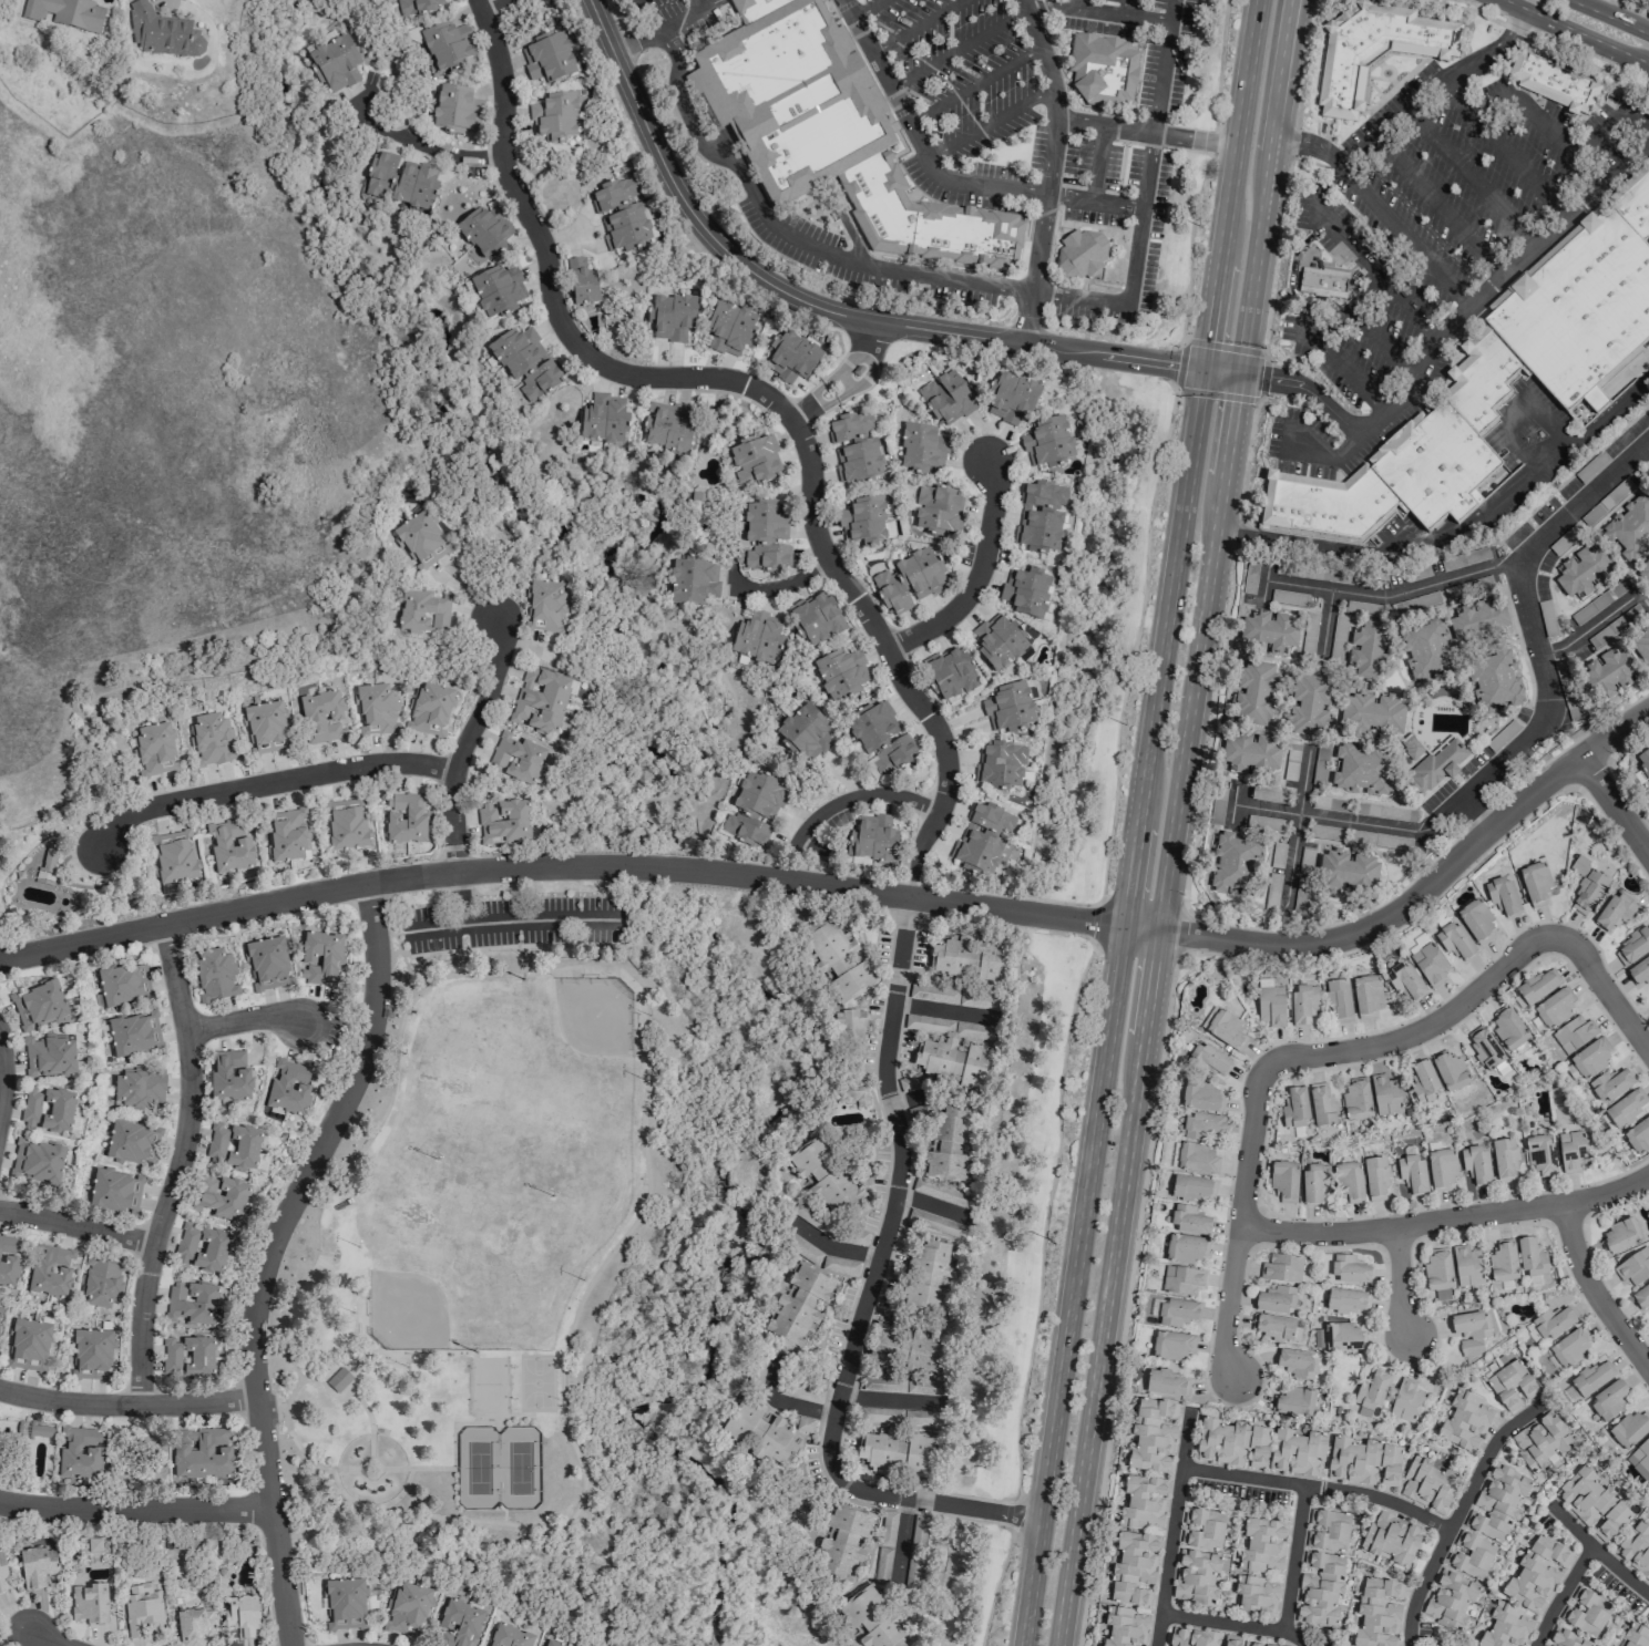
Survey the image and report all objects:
building: (1642, 0)
road: (697, 3)
road: (498, 6)
road: (1080, 6)
building: (417, 7)
road: (869, 8)
road: (1125, 8)
road: (1629, 9)
building: (65, 13)
road: (1098, 13)
road: (1609, 17)
road: (915, 24)
road: (657, 29)
road: (1577, 33)
building: (162, 34)
road: (1538, 42)
building: (448, 47)
road: (959, 48)
building: (1374, 51)
building: (550, 56)
building: (336, 62)
building: (1103, 71)
building: (1553, 83)
road: (975, 84)
road: (1435, 86)
building: (455, 109)
building: (554, 116)
road: (991, 123)
road: (1630, 126)
road: (1540, 130)
road: (1154, 132)
building: (830, 134)
road: (1589, 140)
road: (1302, 141)
road: (423, 147)
road: (1505, 150)
road: (1151, 153)
road: (1099, 164)
road: (1051, 169)
road: (943, 175)
road: (1471, 177)
building: (400, 181)
road: (1438, 208)
building: (484, 235)
road: (785, 235)
road: (1405, 237)
building: (1080, 256)
road: (1379, 272)
building: (581, 282)
building: (1324, 285)
building: (498, 289)
road: (1482, 298)
road: (1079, 299)
road: (1349, 308)
road: (823, 310)
building: (1577, 310)
building: (670, 317)
building: (729, 329)
road: (1381, 348)
building: (791, 358)
building: (525, 363)
road: (862, 363)
traffic signals: (1221, 369)
road: (1345, 370)
road: (1298, 387)
road: (751, 389)
building: (945, 398)
building: (1011, 398)
road: (813, 408)
building: (603, 419)
road: (1550, 422)
building: (666, 426)
building: (1046, 442)
building: (856, 446)
building: (921, 449)
road: (1310, 450)
building: (755, 462)
road: (1207, 464)
building: (1436, 469)
building: (938, 512)
building: (1042, 516)
building: (862, 522)
building: (1629, 528)
building: (765, 536)
road: (1450, 537)
building: (421, 538)
building: (1646, 569)
building: (1583, 570)
road: (1479, 574)
road: (980, 579)
building: (694, 583)
road: (793, 584)
road: (1268, 586)
building: (1026, 591)
building: (546, 607)
building: (1362, 607)
building: (421, 610)
building: (816, 619)
building: (1477, 623)
road: (1594, 629)
road: (1329, 631)
building: (1268, 632)
building: (757, 637)
building: (1000, 642)
building: (1641, 646)
building: (1426, 649)
building: (1366, 650)
building: (840, 673)
building: (950, 675)
building: (1606, 676)
building: (1494, 680)
building: (1254, 693)
building: (542, 701)
building: (1308, 706)
building: (376, 709)
building: (430, 710)
building: (1371, 712)
building: (321, 717)
building: (264, 727)
building: (803, 734)
building: (880, 739)
building: (211, 740)
road: (468, 744)
building: (1410, 747)
building: (155, 750)
building: (1250, 754)
building: (516, 759)
building: (1643, 762)
building: (1002, 764)
building: (1437, 765)
building: (1363, 769)
road: (272, 785)
road: (1478, 789)
road: (862, 798)
road: (1236, 806)
road: (1616, 809)
building: (752, 811)
building: (404, 819)
road: (1477, 819)
building: (503, 822)
building: (345, 824)
road: (1299, 832)
building: (288, 834)
building: (1364, 837)
building: (872, 840)
building: (983, 840)
building: (229, 846)
building: (173, 857)
building: (47, 863)
building: (1236, 866)
building: (1346, 873)
road: (453, 875)
road: (915, 884)
building: (1534, 884)
building: (1586, 886)
building: (1502, 896)
building: (1614, 913)
road: (509, 920)
building: (1475, 922)
building: (1455, 942)
road: (1318, 947)
building: (1632, 947)
building: (319, 956)
building: (837, 960)
building: (969, 961)
building: (1428, 964)
building: (267, 965)
building: (1639, 971)
building: (215, 975)
building: (1406, 981)
building: (121, 984)
building: (1537, 986)
road: (1606, 992)
building: (1366, 996)
building: (954, 997)
building: (1648, 997)
building: (1338, 1000)
building: (1302, 1004)
building: (38, 1006)
building: (1270, 1006)
road: (940, 1008)
building: (1554, 1009)
road: (248, 1020)
building: (928, 1023)
building: (849, 1027)
building: (1508, 1029)
building: (1226, 1030)
building: (975, 1031)
road: (1426, 1031)
building: (1573, 1033)
building: (1485, 1050)
building: (49, 1056)
building: (1207, 1060)
building: (1587, 1061)
building: (954, 1063)
building: (1451, 1072)
building: (228, 1077)
building: (1424, 1083)
building: (1609, 1084)
building: (288, 1087)
building: (137, 1088)
road: (2, 1093)
building: (854, 1095)
building: (1384, 1095)
building: (1201, 1097)
building: (1356, 1100)
building: (1321, 1103)
building: (1294, 1109)
building: (1625, 1109)
building: (919, 1111)
building: (1201, 1127)
building: (1638, 1136)
building: (132, 1141)
building: (216, 1142)
building: (949, 1144)
building: (1571, 1151)
building: (1540, 1155)
building: (1197, 1159)
building: (1504, 1161)
building: (37, 1162)
building: (1475, 1163)
road: (182, 1166)
building: (1441, 1169)
building: (1411, 1173)
building: (1375, 1179)
building: (1283, 1180)
building: (1349, 1181)
building: (1313, 1182)
building: (1192, 1189)
building: (114, 1191)
building: (827, 1191)
building: (941, 1194)
building: (219, 1196)
road: (931, 1204)
road: (1082, 1220)
building: (1189, 1220)
park: (475, 1222)
road: (1241, 1223)
road: (1447, 1223)
building: (936, 1224)
road: (79, 1227)
building: (1619, 1236)
building: (203, 1247)
building: (800, 1247)
road: (832, 1248)
building: (1185, 1248)
road: (273, 1256)
building: (1530, 1257)
building: (8, 1259)
building: (1503, 1262)
building: (839, 1266)
building: (1466, 1266)
building: (1633, 1267)
building: (1281, 1268)
building: (1348, 1269)
building: (50, 1270)
building: (1437, 1274)
building: (926, 1279)
building: (1181, 1280)
building: (102, 1282)
road: (1399, 1284)
road: (1105, 1285)
road: (863, 1288)
road: (1596, 1293)
building: (1641, 1298)
building: (1276, 1299)
building: (1346, 1300)
building: (191, 1304)
building: (798, 1309)
building: (1177, 1313)
building: (1551, 1323)
building: (1277, 1328)
building: (1469, 1331)
building: (1343, 1337)
building: (28, 1342)
building: (1171, 1345)
building: (889, 1346)
building: (1569, 1347)
building: (93, 1352)
building: (201, 1357)
building: (1297, 1364)
building: (913, 1371)
building: (755, 1375)
building: (1591, 1377)
building: (338, 1379)
building: (1167, 1383)
building: (1510, 1385)
building: (800, 1390)
building: (1371, 1393)
road: (875, 1398)
building: (1405, 1400)
building: (1608, 1400)
road: (788, 1402)
building: (1294, 1402)
road: (130, 1406)
building: (880, 1416)
building: (922, 1417)
building: (1465, 1421)
building: (744, 1424)
building: (803, 1424)
building: (1629, 1429)
building: (40, 1430)
building: (1151, 1436)
building: (1540, 1441)
building: (775, 1442)
building: (1231, 1442)
building: (882, 1452)
building: (1295, 1452)
building: (201, 1453)
building: (76, 1454)
building: (918, 1455)
building: (1640, 1460)
building: (1363, 1461)
building: (1427, 1484)
road: (1321, 1490)
building: (1143, 1501)
building: (1498, 1502)
building: (1592, 1503)
road: (137, 1510)
road: (1462, 1513)
road: (1176, 1527)
building: (1205, 1530)
building: (1330, 1531)
road: (899, 1536)
building: (1391, 1539)
building: (843, 1541)
building: (884, 1545)
building: (1262, 1545)
building: (915, 1552)
road: (1598, 1552)
building: (1471, 1556)
road: (1297, 1562)
building: (35, 1566)
building: (1133, 1567)
building: (1536, 1574)
building: (2, 1575)
building: (1197, 1577)
road: (1032, 1583)
building: (1320, 1588)
building: (1256, 1594)
road: (1565, 1596)
building: (1450, 1599)
building: (345, 1604)
building: (90, 1605)
building: (407, 1608)
building: (1377, 1613)
building: (142, 1614)
building: (1587, 1614)
building: (240, 1615)
building: (872, 1618)
building: (459, 1623)
building: (194, 1626)
building: (1125, 1627)
road: (1235, 1627)
building: (1505, 1627)
building: (509, 1636)
building: (1635, 1636)
building: (1200, 1638)
building: (1564, 1638)
road: (44, 1640)
building: (552, 1644)
building: (1256, 1644)

